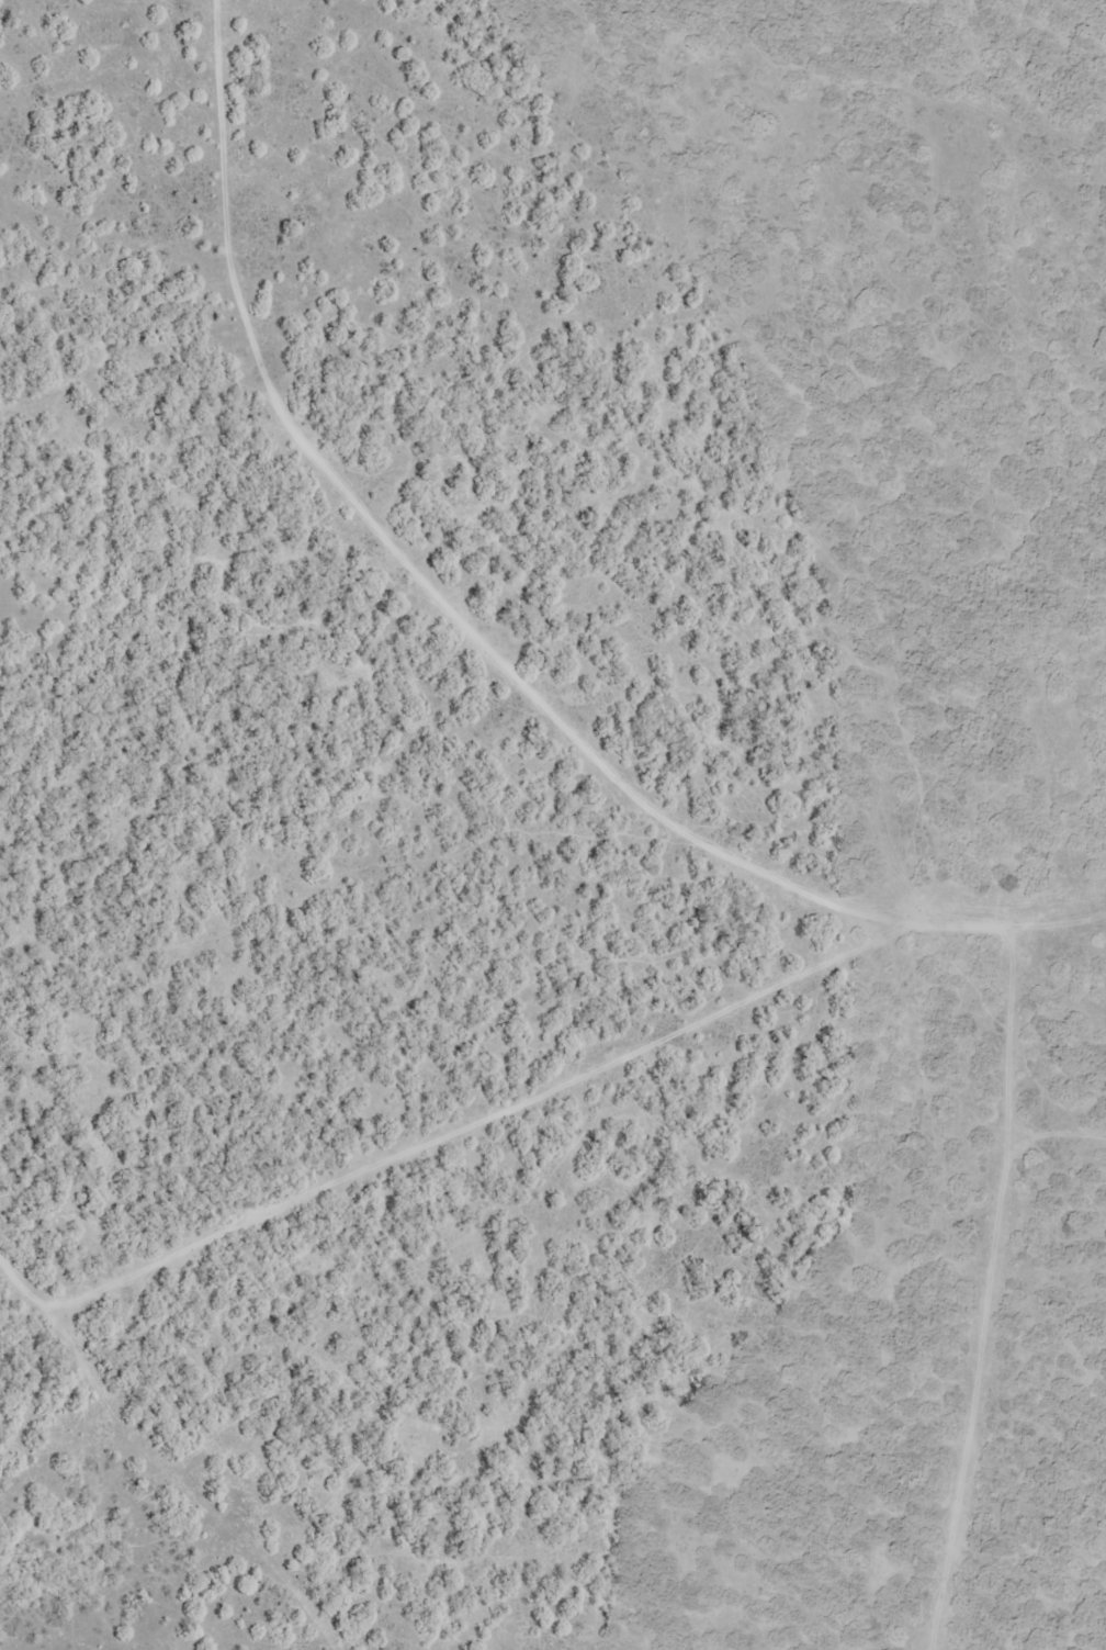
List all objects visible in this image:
road: (518, 1475)

